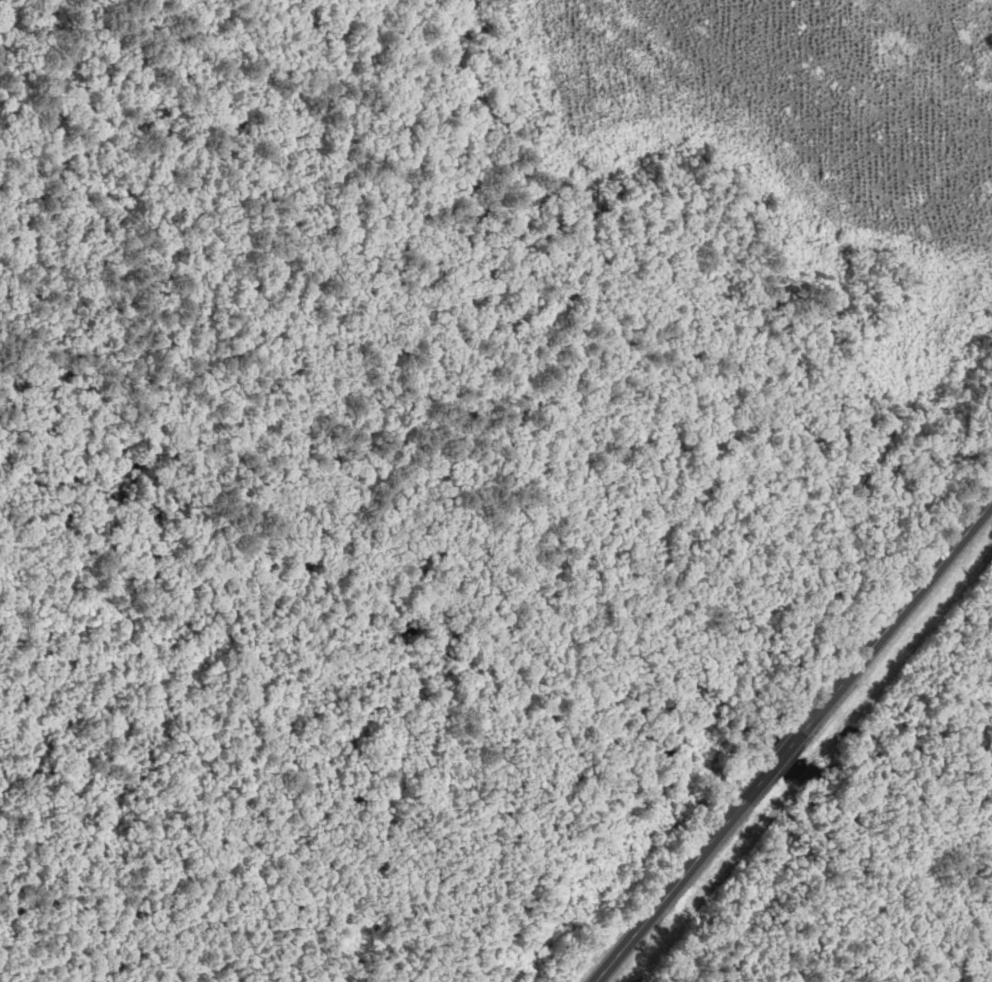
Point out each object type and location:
road: (793, 741)

